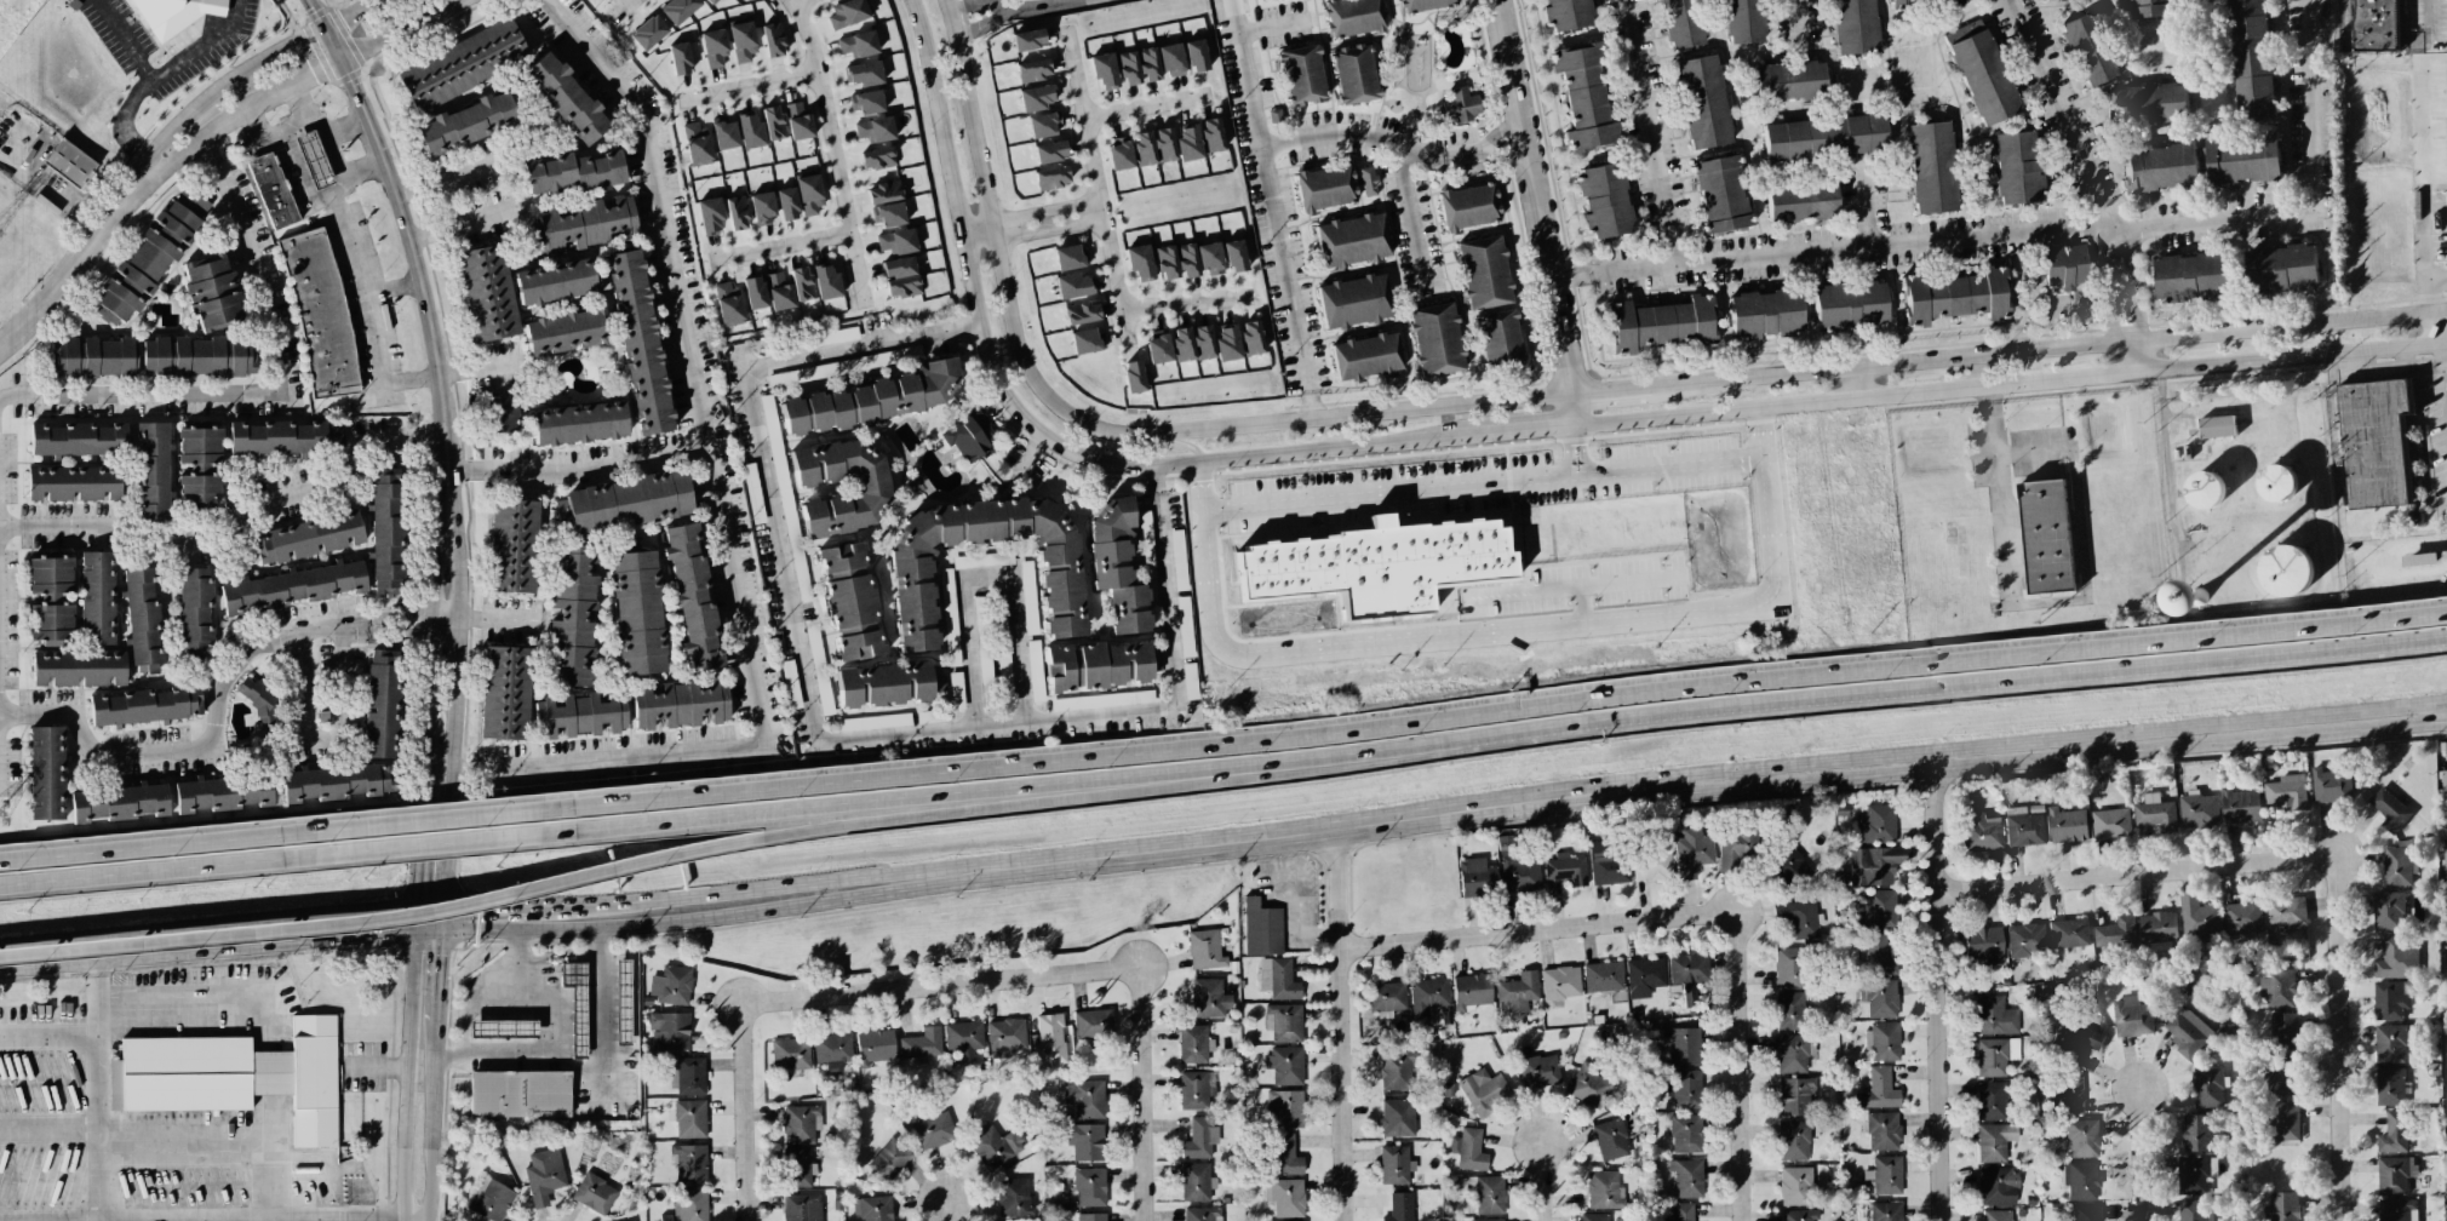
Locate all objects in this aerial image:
road: (985, 0)
building: (710, 1)
building: (1916, 1)
road: (800, 2)
road: (1041, 2)
building: (1423, 5)
road: (618, 7)
building: (2151, 8)
building: (678, 10)
road: (317, 12)
building: (848, 12)
road: (354, 13)
road: (1798, 13)
building: (173, 15)
building: (1566, 15)
building: (1352, 17)
building: (1743, 21)
road: (990, 23)
building: (1681, 23)
building: (2373, 25)
road: (2430, 25)
building: (1853, 27)
road: (401, 29)
road: (1271, 29)
building: (648, 33)
building: (772, 39)
road: (124, 40)
building: (743, 40)
building: (1027, 40)
road: (334, 42)
building: (858, 44)
building: (714, 47)
building: (2087, 50)
building: (1196, 56)
building: (678, 58)
building: (2252, 58)
building: (1171, 61)
building: (462, 64)
building: (1148, 64)
building: (1128, 68)
building: (1032, 70)
building: (1104, 70)
building: (1981, 71)
building: (864, 73)
building: (1353, 74)
road: (159, 75)
building: (1302, 75)
road: (306, 78)
building: (1789, 81)
road: (229, 84)
road: (745, 86)
building: (1036, 97)
building: (566, 98)
building: (1584, 98)
building: (866, 102)
building: (1702, 102)
building: (2147, 103)
building: (1460, 104)
road: (1146, 108)
road: (263, 121)
building: (798, 121)
building: (773, 122)
building: (465, 124)
building: (1044, 124)
road: (291, 126)
road: (2067, 127)
road: (350, 130)
building: (750, 130)
building: (875, 130)
road: (1658, 133)
building: (724, 134)
building: (1211, 134)
road: (1352, 137)
building: (1824, 137)
road: (200, 139)
building: (695, 143)
building: (1188, 143)
building: (1164, 144)
road: (208, 148)
building: (1144, 148)
road: (832, 149)
road: (1485, 149)
building: (1049, 151)
building: (1121, 154)
building: (877, 157)
building: (313, 159)
building: (2242, 159)
building: (69, 162)
road: (366, 162)
building: (2160, 166)
building: (1931, 167)
road: (155, 168)
building: (2016, 168)
building: (572, 172)
road: (302, 176)
road: (143, 177)
building: (1051, 178)
road: (446, 180)
building: (1368, 182)
road: (1095, 184)
building: (1324, 188)
building: (271, 190)
building: (883, 193)
building: (1720, 194)
building: (809, 195)
road: (1270, 196)
building: (1605, 200)
building: (1801, 201)
building: (787, 203)
building: (1468, 206)
building: (762, 208)
road: (1541, 210)
road: (1869, 211)
building: (737, 212)
building: (710, 214)
building: (888, 214)
road: (462, 220)
road: (1412, 220)
road: (340, 223)
building: (586, 223)
road: (2056, 233)
road: (962, 235)
building: (1352, 240)
building: (896, 241)
road: (780, 247)
building: (1234, 256)
road: (2434, 256)
building: (151, 257)
building: (1068, 257)
building: (1210, 258)
building: (1187, 260)
building: (1140, 262)
building: (1167, 262)
building: (2065, 265)
building: (2281, 268)
building: (1484, 273)
road: (73, 274)
building: (2190, 276)
building: (900, 277)
road: (1572, 280)
building: (825, 281)
building: (801, 283)
building: (1073, 286)
road: (399, 288)
road: (426, 291)
building: (211, 292)
building: (753, 292)
building: (779, 292)
building: (487, 293)
building: (1955, 296)
road: (2124, 299)
building: (1354, 300)
road: (1185, 303)
building: (728, 304)
building: (1849, 305)
building: (597, 308)
building: (319, 310)
building: (1082, 313)
building: (1765, 314)
building: (1660, 325)
building: (833, 337)
building: (1250, 337)
building: (1498, 337)
building: (1435, 339)
building: (1085, 340)
building: (638, 342)
building: (1193, 343)
building: (1227, 343)
road: (2440, 344)
building: (1158, 346)
building: (197, 356)
building: (1366, 356)
building: (92, 357)
road: (453, 374)
building: (1133, 377)
road: (1857, 383)
road: (2016, 383)
road: (258, 394)
road: (1536, 395)
road: (2445, 396)
building: (872, 399)
road: (1313, 405)
building: (502, 411)
building: (579, 424)
road: (1528, 425)
building: (2217, 426)
road: (1031, 428)
building: (968, 436)
building: (283, 437)
building: (78, 438)
road: (1251, 440)
building: (2376, 442)
road: (1572, 447)
road: (964, 448)
road: (2168, 457)
building: (199, 464)
road: (611, 468)
building: (154, 470)
road: (482, 472)
building: (74, 483)
road: (1482, 483)
building: (2277, 483)
building: (870, 488)
building: (2204, 489)
building: (752, 493)
road: (1998, 497)
building: (627, 501)
road: (718, 504)
building: (561, 511)
building: (385, 532)
road: (2078, 533)
building: (2046, 537)
road: (187, 539)
building: (308, 539)
building: (1146, 544)
building: (511, 545)
building: (795, 549)
building: (1450, 551)
building: (841, 558)
building: (982, 560)
building: (1177, 560)
building: (2419, 560)
road: (1538, 561)
road: (990, 567)
building: (1116, 567)
building: (2285, 571)
road: (457, 574)
building: (1314, 574)
building: (292, 587)
building: (913, 592)
building: (97, 597)
building: (692, 597)
building: (1027, 597)
building: (51, 598)
building: (850, 603)
road: (423, 609)
building: (195, 610)
road: (500, 612)
building: (571, 613)
building: (636, 613)
building: (949, 617)
building: (143, 623)
building: (1185, 626)
road: (1496, 634)
building: (858, 646)
road: (429, 653)
building: (1100, 665)
building: (79, 667)
building: (818, 667)
building: (790, 683)
building: (887, 683)
building: (956, 690)
road: (457, 692)
building: (504, 693)
building: (256, 694)
building: (1101, 700)
building: (680, 703)
building: (380, 704)
building: (145, 706)
road: (1474, 710)
road: (1754, 712)
building: (580, 715)
building: (872, 722)
road: (819, 727)
road: (212, 739)
road: (323, 739)
road: (1, 756)
railway: (1223, 763)
road: (449, 769)
road: (1717, 780)
building: (337, 783)
building: (2331, 786)
building: (2286, 792)
building: (222, 793)
building: (119, 802)
building: (2445, 803)
road: (950, 804)
building: (2240, 807)
building: (2389, 809)
road: (784, 810)
building: (2199, 810)
building: (2154, 813)
road: (437, 816)
building: (1878, 824)
building: (2110, 824)
building: (2067, 825)
building: (2023, 827)
building: (1983, 831)
road: (187, 839)
road: (446, 839)
road: (423, 841)
road: (441, 844)
building: (1736, 845)
building: (1692, 853)
building: (1652, 862)
building: (1606, 864)
building: (1876, 865)
building: (2396, 866)
building: (1518, 867)
road: (188, 869)
building: (1566, 869)
building: (1790, 870)
road: (2103, 876)
building: (1477, 877)
building: (2445, 879)
road: (767, 889)
road: (493, 907)
road: (429, 908)
traffic signals: (441, 908)
building: (1879, 910)
traffic signals: (418, 911)
building: (2388, 911)
building: (2285, 912)
road: (423, 916)
road: (716, 918)
building: (1799, 918)
building: (2197, 919)
building: (2241, 919)
road: (441, 921)
road: (417, 922)
building: (1261, 928)
building: (2157, 928)
road: (208, 929)
building: (2115, 931)
traffic signals: (441, 933)
road: (1505, 933)
building: (2068, 933)
traffic signals: (417, 934)
road: (401, 935)
building: (2025, 940)
building: (1984, 942)
building: (1205, 950)
building: (2446, 953)
building: (1878, 955)
road: (180, 956)
building: (2396, 959)
road: (514, 962)
building: (1789, 967)
building: (1689, 970)
road: (439, 974)
building: (1603, 976)
building: (1644, 976)
building: (1278, 979)
building: (1560, 982)
building: (671, 985)
road: (1939, 988)
road: (854, 991)
building: (1471, 991)
building: (1518, 991)
road: (506, 994)
building: (1428, 996)
road: (184, 997)
building: (1880, 997)
building: (1209, 998)
building: (1387, 998)
building: (2390, 999)
building: (575, 1004)
building: (1790, 1010)
road: (2342, 1010)
building: (1994, 1015)
building: (2131, 1016)
building: (1283, 1022)
building: (1093, 1024)
road: (1340, 1025)
building: (669, 1031)
building: (2283, 1031)
road: (48, 1032)
building: (2187, 1032)
building: (963, 1037)
building: (1007, 1037)
road: (1742, 1039)
building: (1049, 1041)
building: (1884, 1041)
building: (922, 1043)
building: (2389, 1043)
building: (1193, 1044)
building: (2078, 1044)
building: (1681, 1045)
building: (876, 1047)
building: (832, 1050)
building: (1793, 1053)
building: (790, 1054)
building: (1995, 1055)
road: (1145, 1061)
building: (1285, 1065)
road: (583, 1066)
road: (383, 1071)
building: (1396, 1071)
building: (1538, 1071)
building: (234, 1076)
building: (687, 1076)
building: (2280, 1076)
road: (97, 1079)
road: (407, 1079)
road: (434, 1080)
building: (1589, 1087)
building: (2389, 1087)
building: (1683, 1088)
building: (2207, 1088)
building: (1193, 1090)
building: (1878, 1090)
building: (1484, 1091)
building: (518, 1094)
building: (1795, 1095)
building: (2069, 1095)
building: (1088, 1099)
building: (1990, 1100)
building: (1286, 1108)
building: (1398, 1117)
building: (690, 1118)
building: (2285, 1120)
building: (800, 1124)
building: (933, 1130)
building: (1882, 1130)
road: (48, 1133)
road: (224, 1133)
building: (1685, 1133)
building: (2195, 1133)
building: (2395, 1133)
building: (2080, 1136)
building: (1199, 1137)
building: (1610, 1140)
building: (1084, 1141)
building: (1793, 1141)
building: (1994, 1141)
building: (995, 1147)
building: (1468, 1150)
building: (1285, 1156)
road: (2143, 1156)
building: (888, 1159)
building: (690, 1162)
building: (1394, 1164)
road: (745, 1166)
building: (797, 1168)
building: (2195, 1174)
building: (2394, 1174)
building: (544, 1175)
building: (1884, 1175)
building: (1686, 1177)
building: (2080, 1180)
road: (1542, 1183)
road: (434, 1185)
building: (1795, 1186)
building: (1998, 1186)
building: (1089, 1187)
building: (1604, 1190)
building: (1486, 1193)
building: (1013, 1197)
building: (1285, 1197)
building: (491, 1199)
building: (690, 1205)
building: (802, 1206)
building: (2281, 1206)
building: (872, 1208)
building: (1399, 1208)
road: (947, 1210)
building: (2195, 1210)
building: (2396, 1210)
building: (1886, 1211)
building: (1681, 1213)
building: (2087, 1213)
building: (1200, 1214)
building: (1799, 1215)
building: (1998, 1215)
building: (1091, 1216)
building: (1594, 1217)
building: (1489, 1220)

